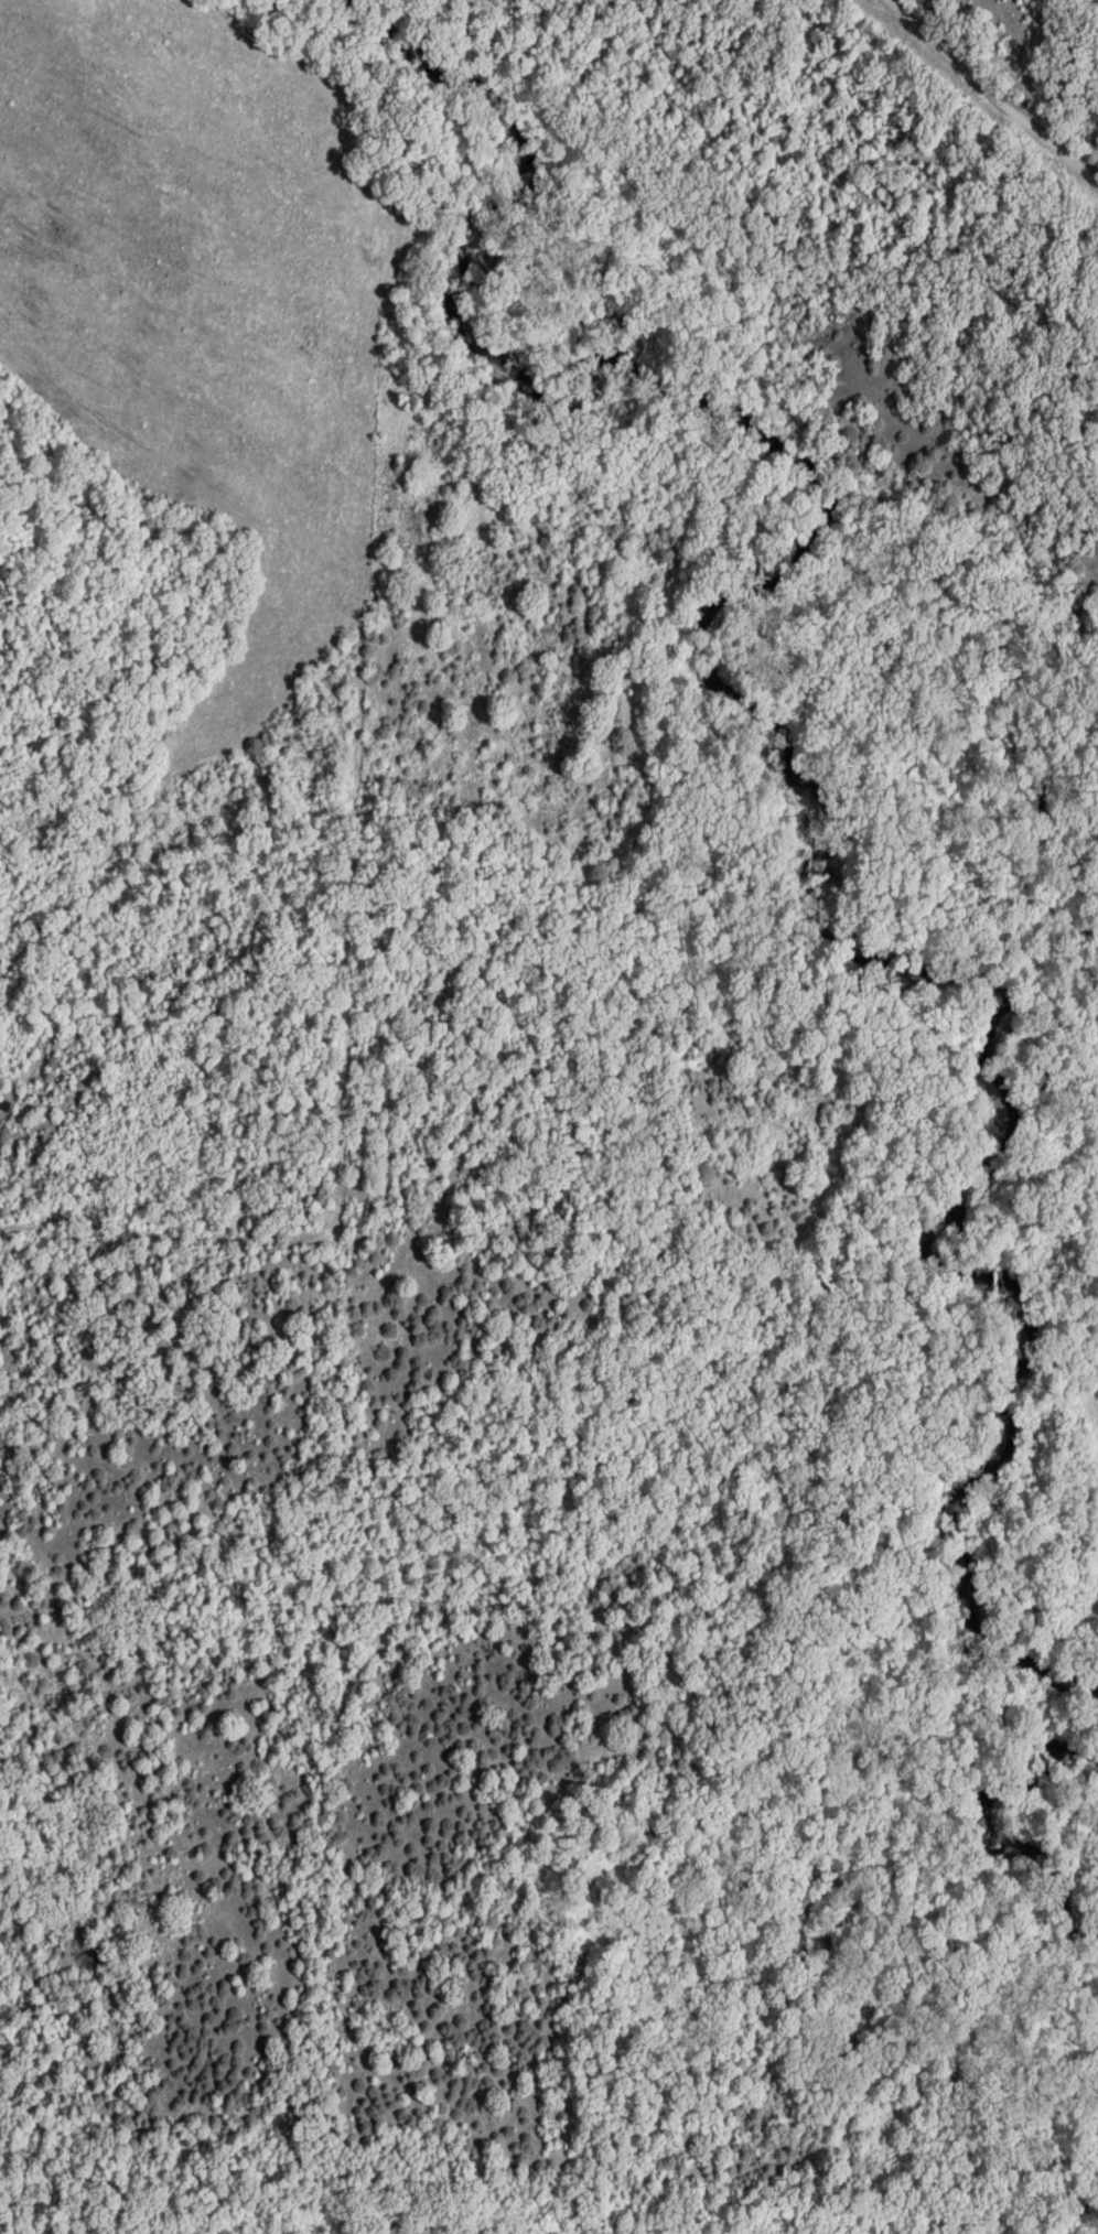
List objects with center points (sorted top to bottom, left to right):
road: (986, 90)

